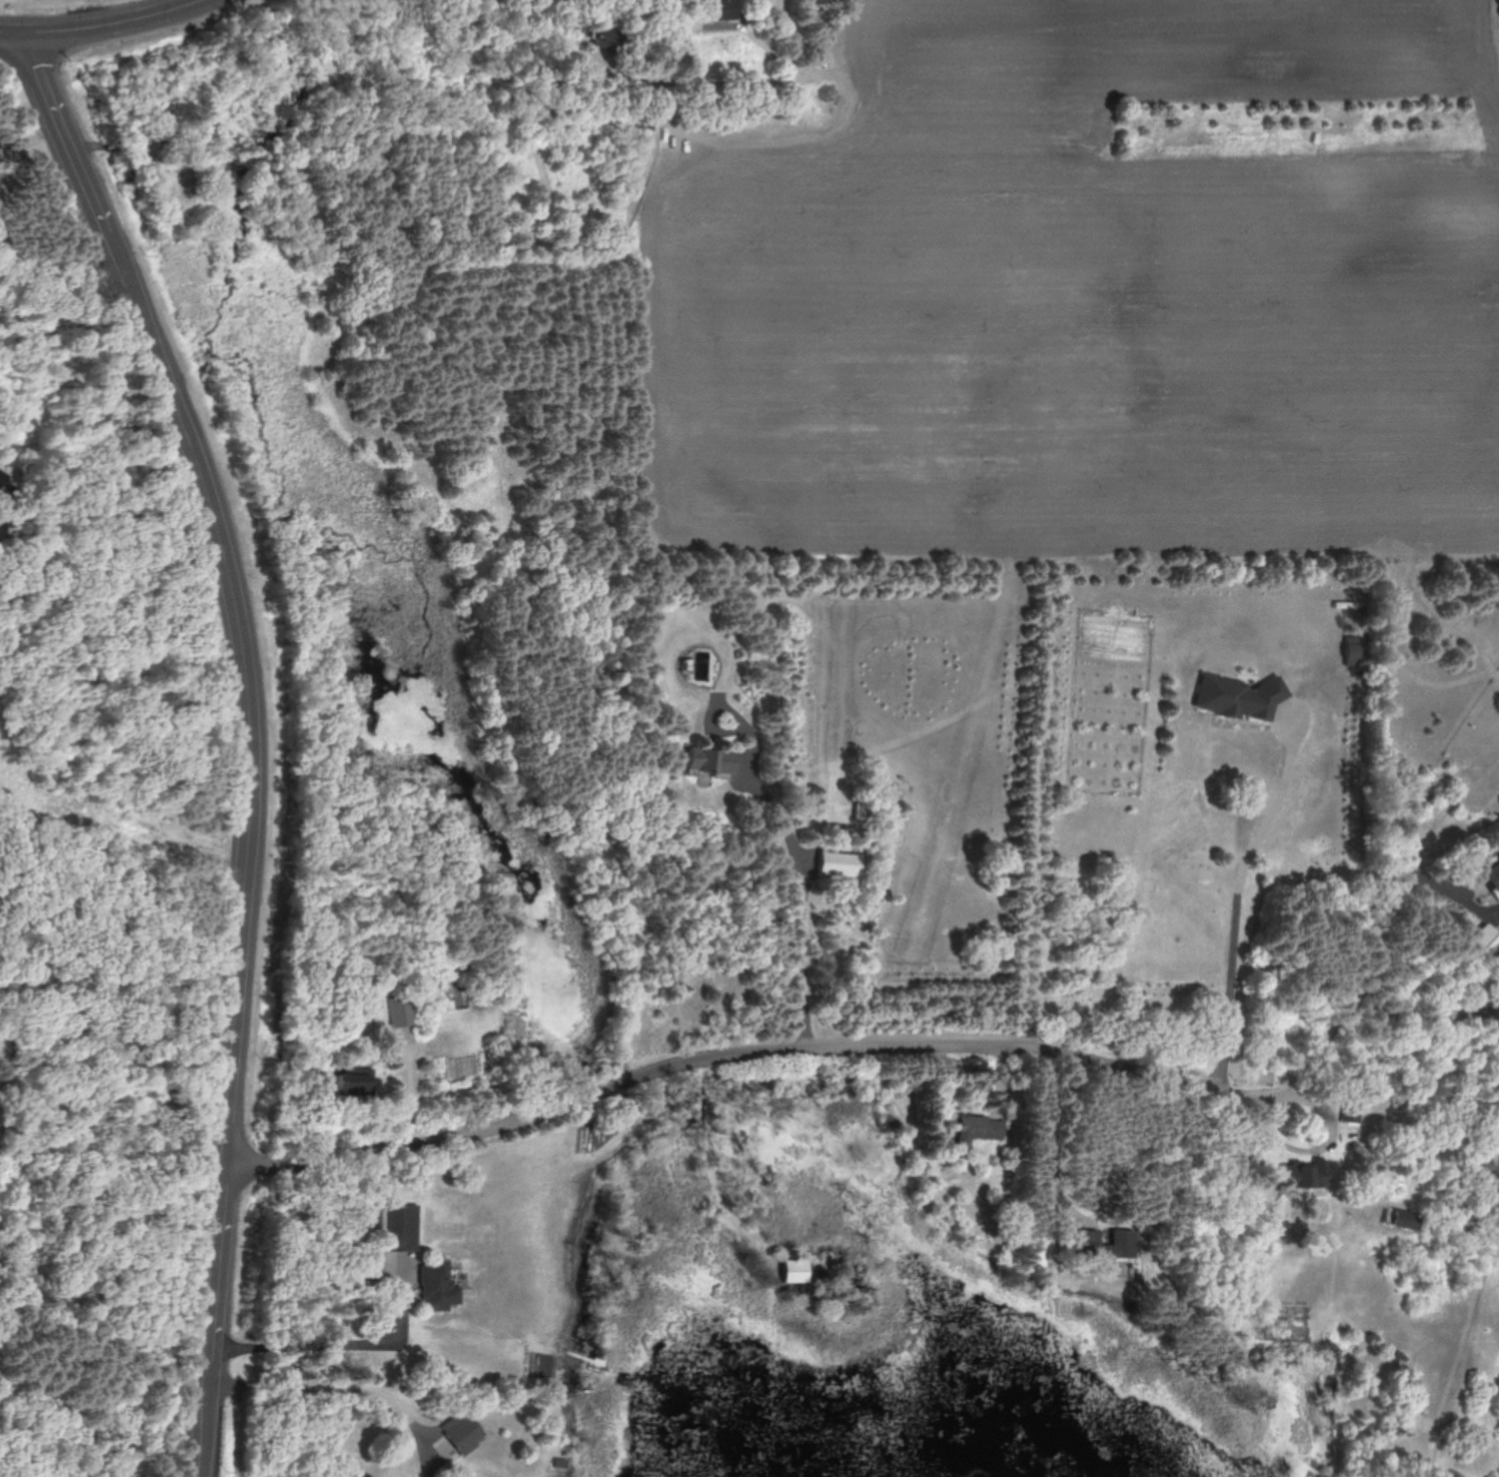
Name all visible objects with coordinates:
park: (46, 4)
building: (720, 9)
road: (102, 29)
building: (609, 38)
road: (760, 138)
building: (5, 487)
building: (2, 527)
building: (1352, 652)
building: (1238, 697)
road: (250, 736)
building: (711, 764)
building: (842, 864)
building: (1493, 872)
road: (1246, 901)
road: (805, 903)
road: (1498, 910)
building: (1488, 942)
building: (405, 1018)
road: (1353, 1022)
road: (725, 1058)
road: (413, 1085)
building: (1355, 1107)
building: (979, 1129)
road: (1279, 1135)
road: (1051, 1149)
building: (1308, 1175)
building: (1407, 1219)
building: (403, 1226)
building: (1086, 1237)
building: (794, 1269)
building: (438, 1286)
road: (337, 1347)
road: (326, 1390)
road: (243, 1432)
building: (468, 1432)

